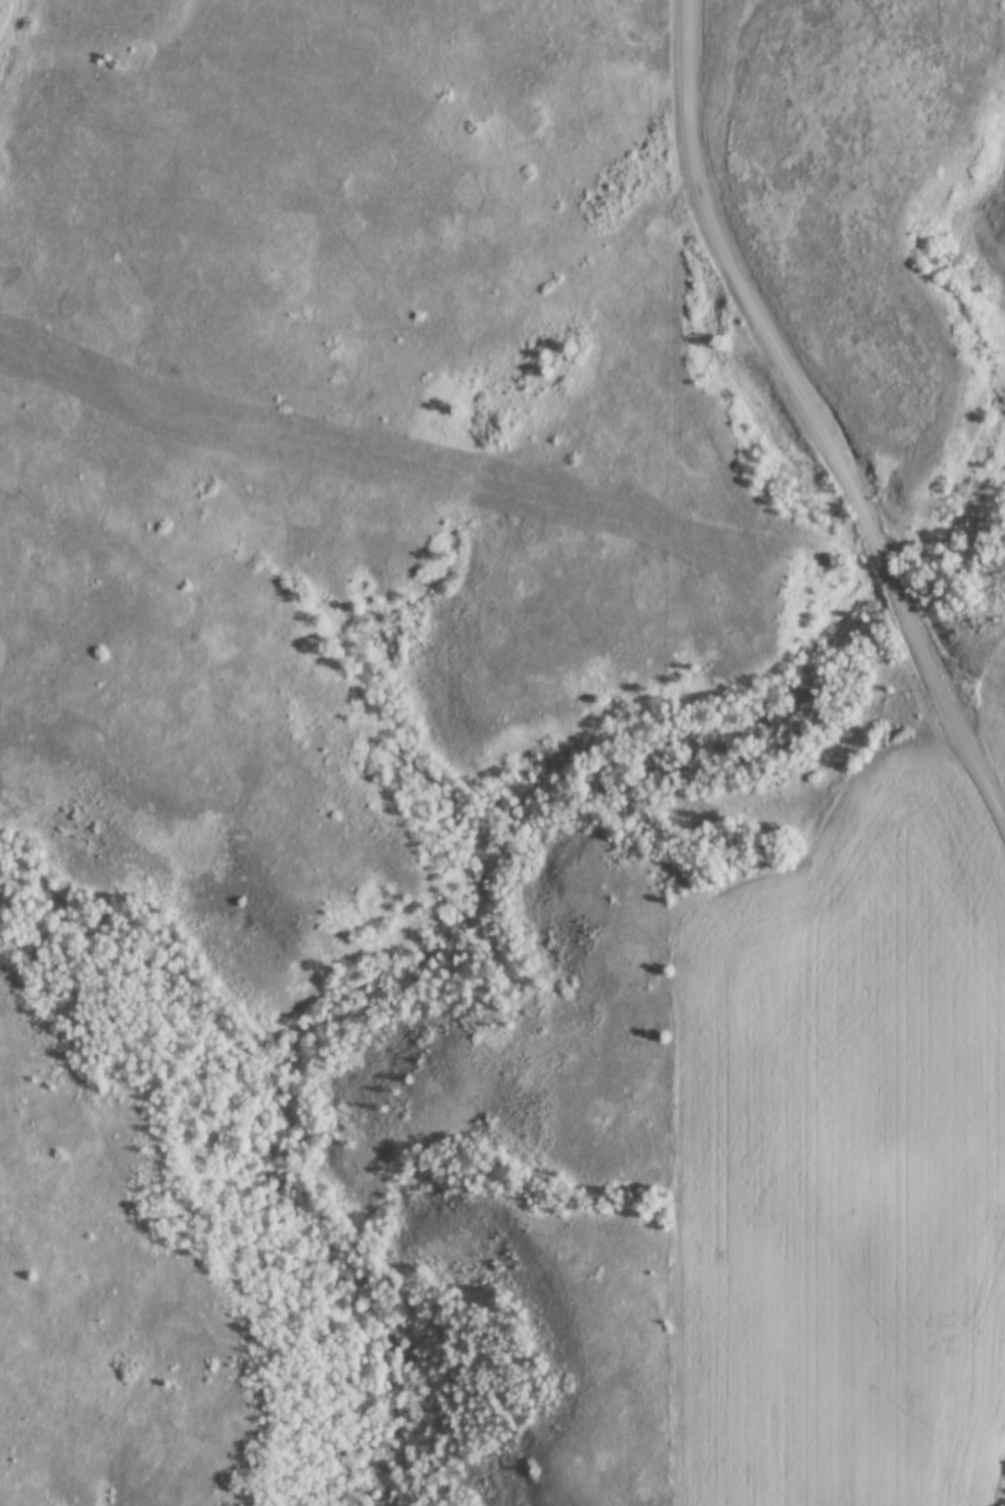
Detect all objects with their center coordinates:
road: (815, 413)

